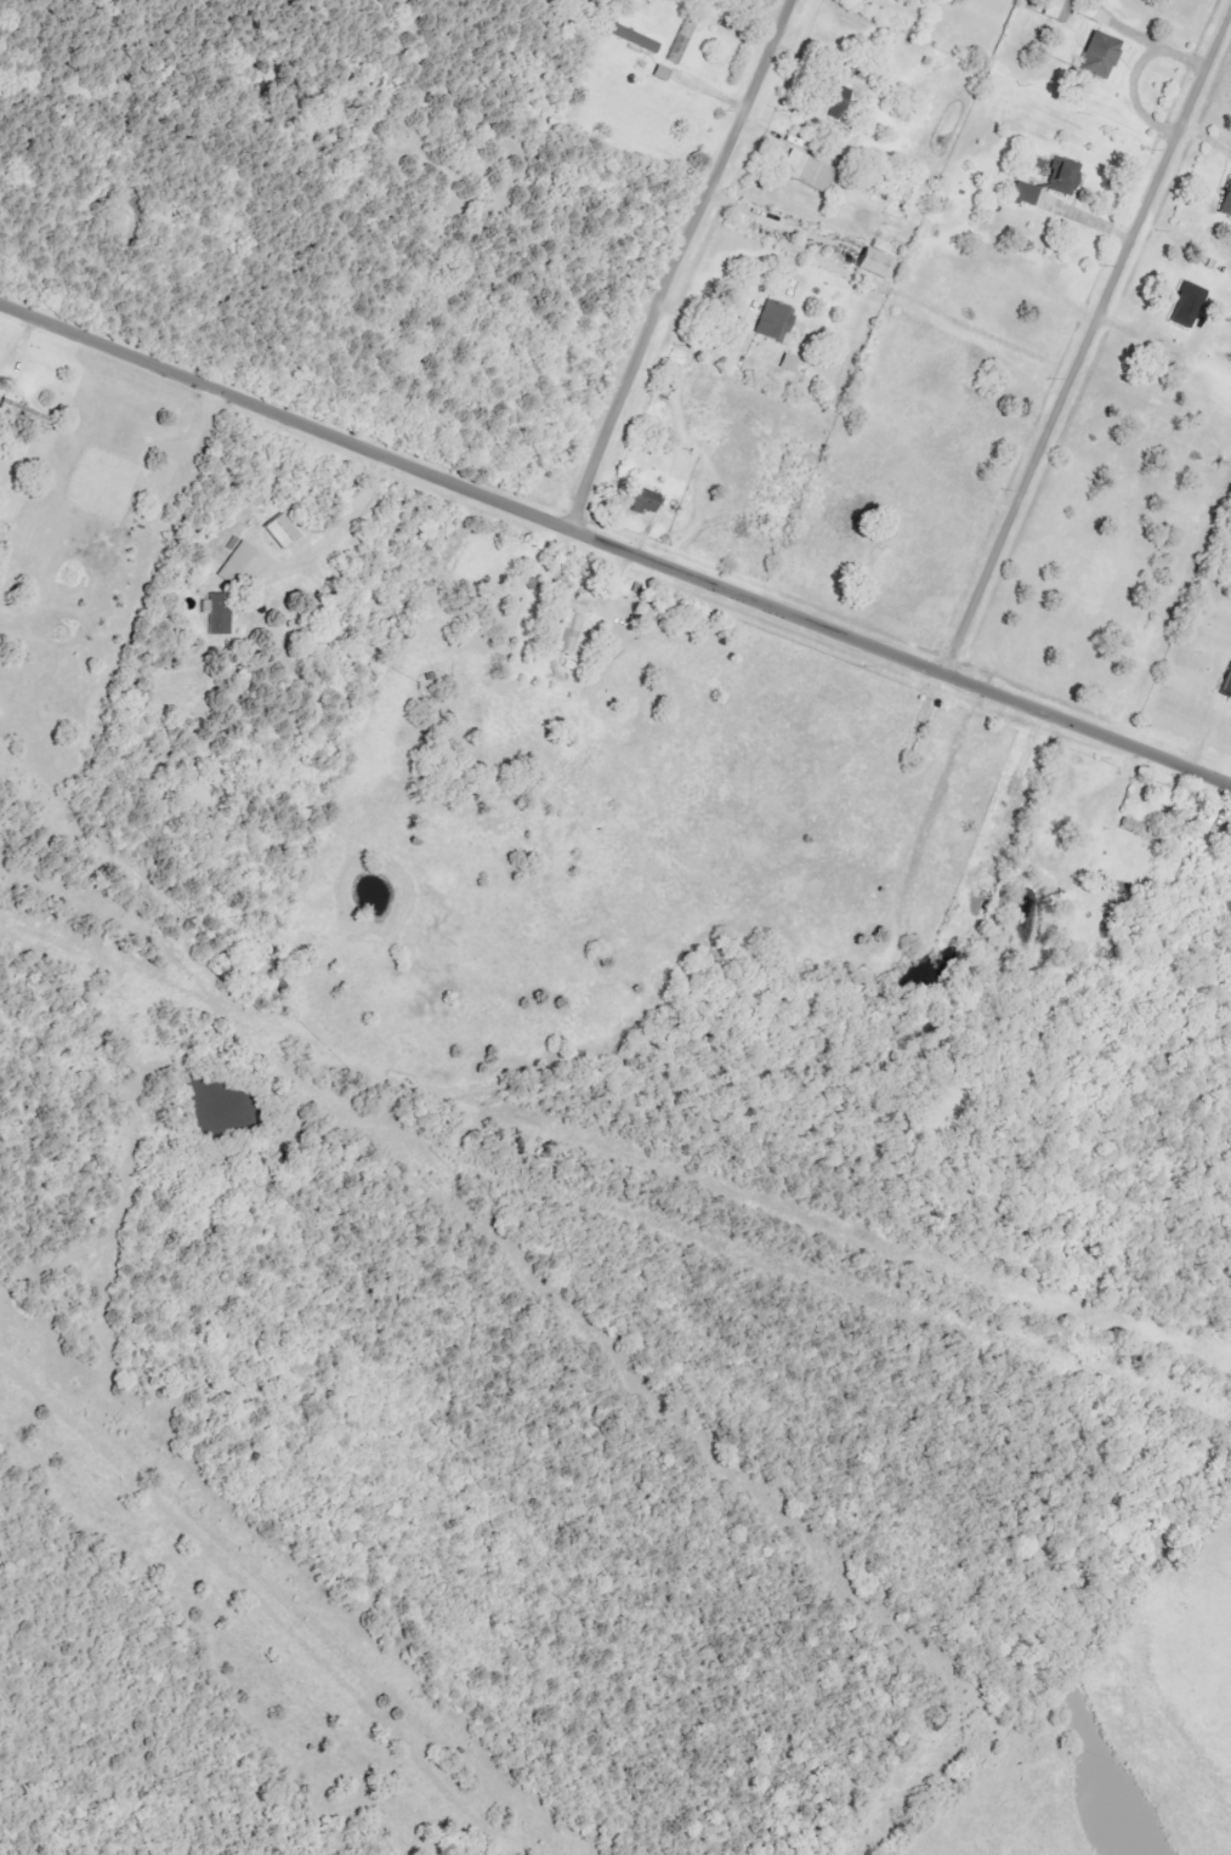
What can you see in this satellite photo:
building: (1053, 10)
building: (630, 36)
building: (1095, 58)
road: (1135, 78)
building: (829, 97)
building: (804, 171)
building: (1060, 176)
building: (1022, 192)
road: (756, 219)
road: (679, 261)
building: (868, 262)
building: (1182, 304)
building: (771, 323)
road: (1085, 341)
building: (28, 414)
building: (646, 499)
road: (342, 521)
building: (280, 529)
road: (614, 543)
building: (233, 557)
road: (575, 601)
building: (217, 611)
building: (569, 634)
building: (1224, 680)

